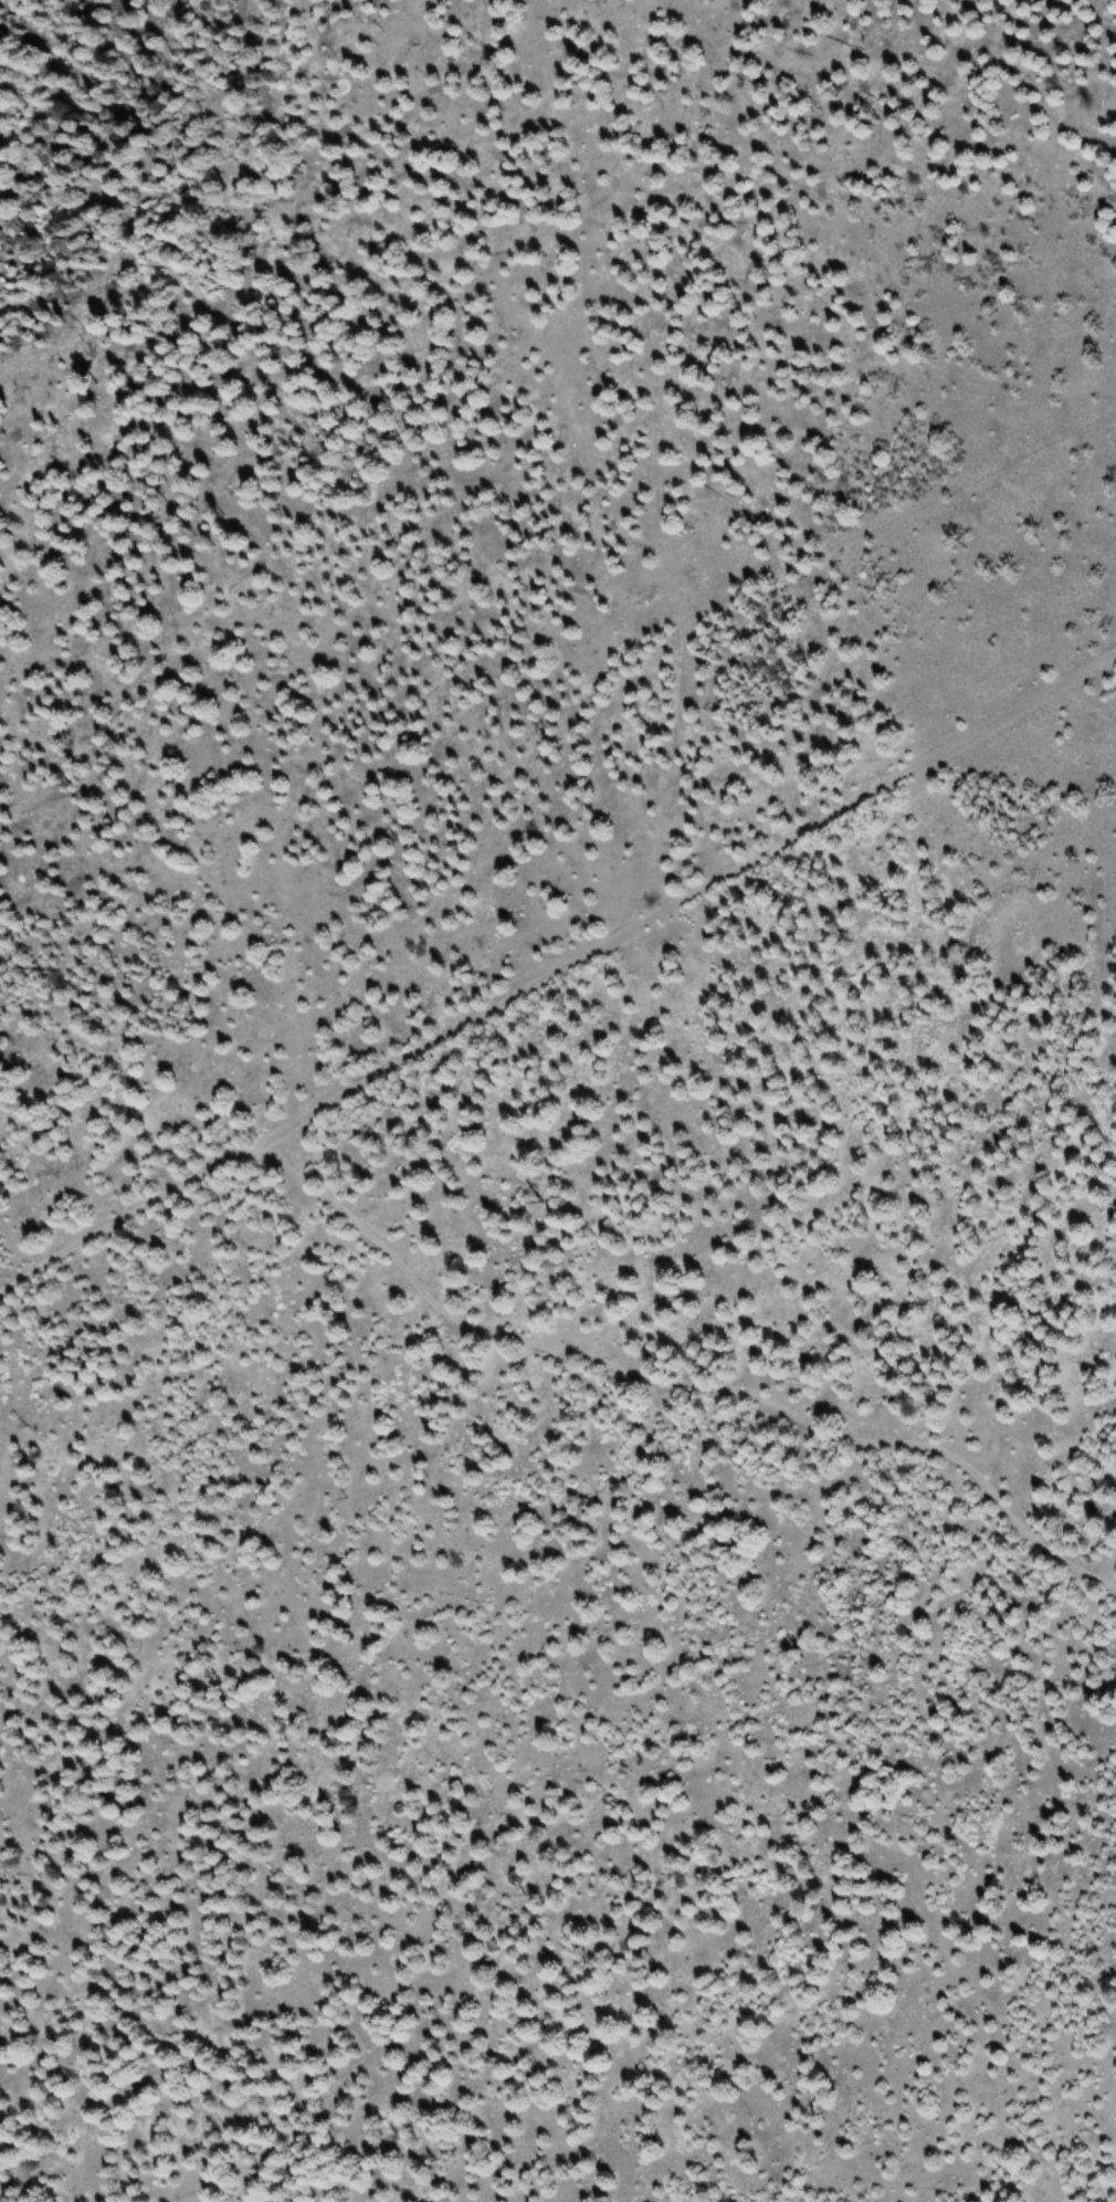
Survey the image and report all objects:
road: (551, 972)
road: (678, 1385)

